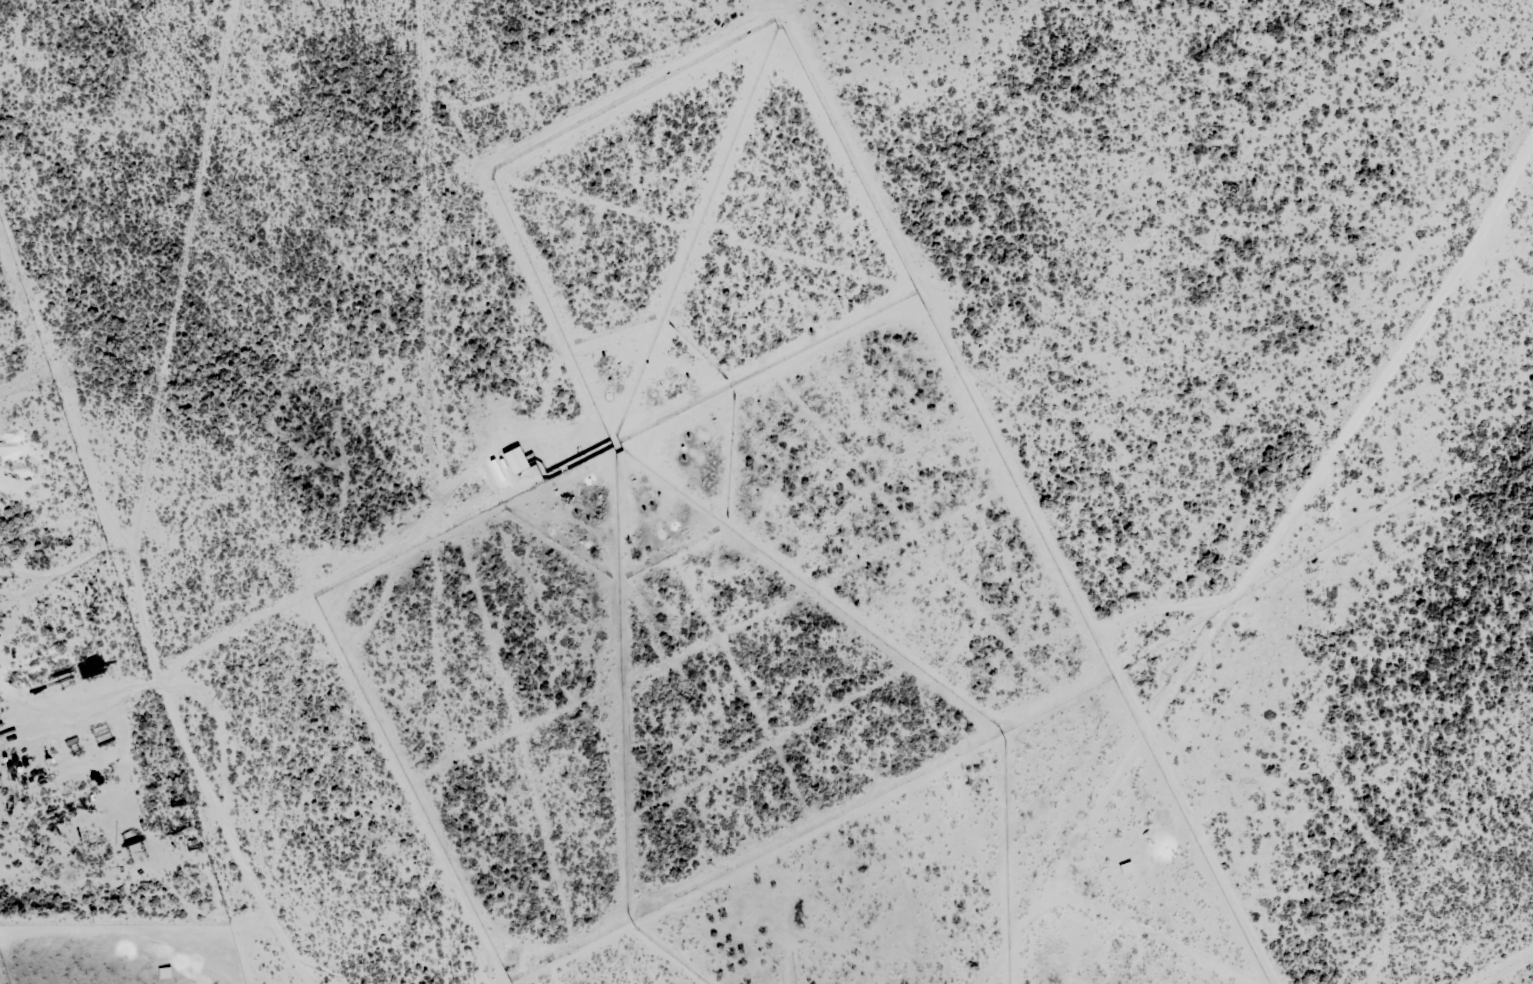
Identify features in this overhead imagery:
road: (1241, 576)

